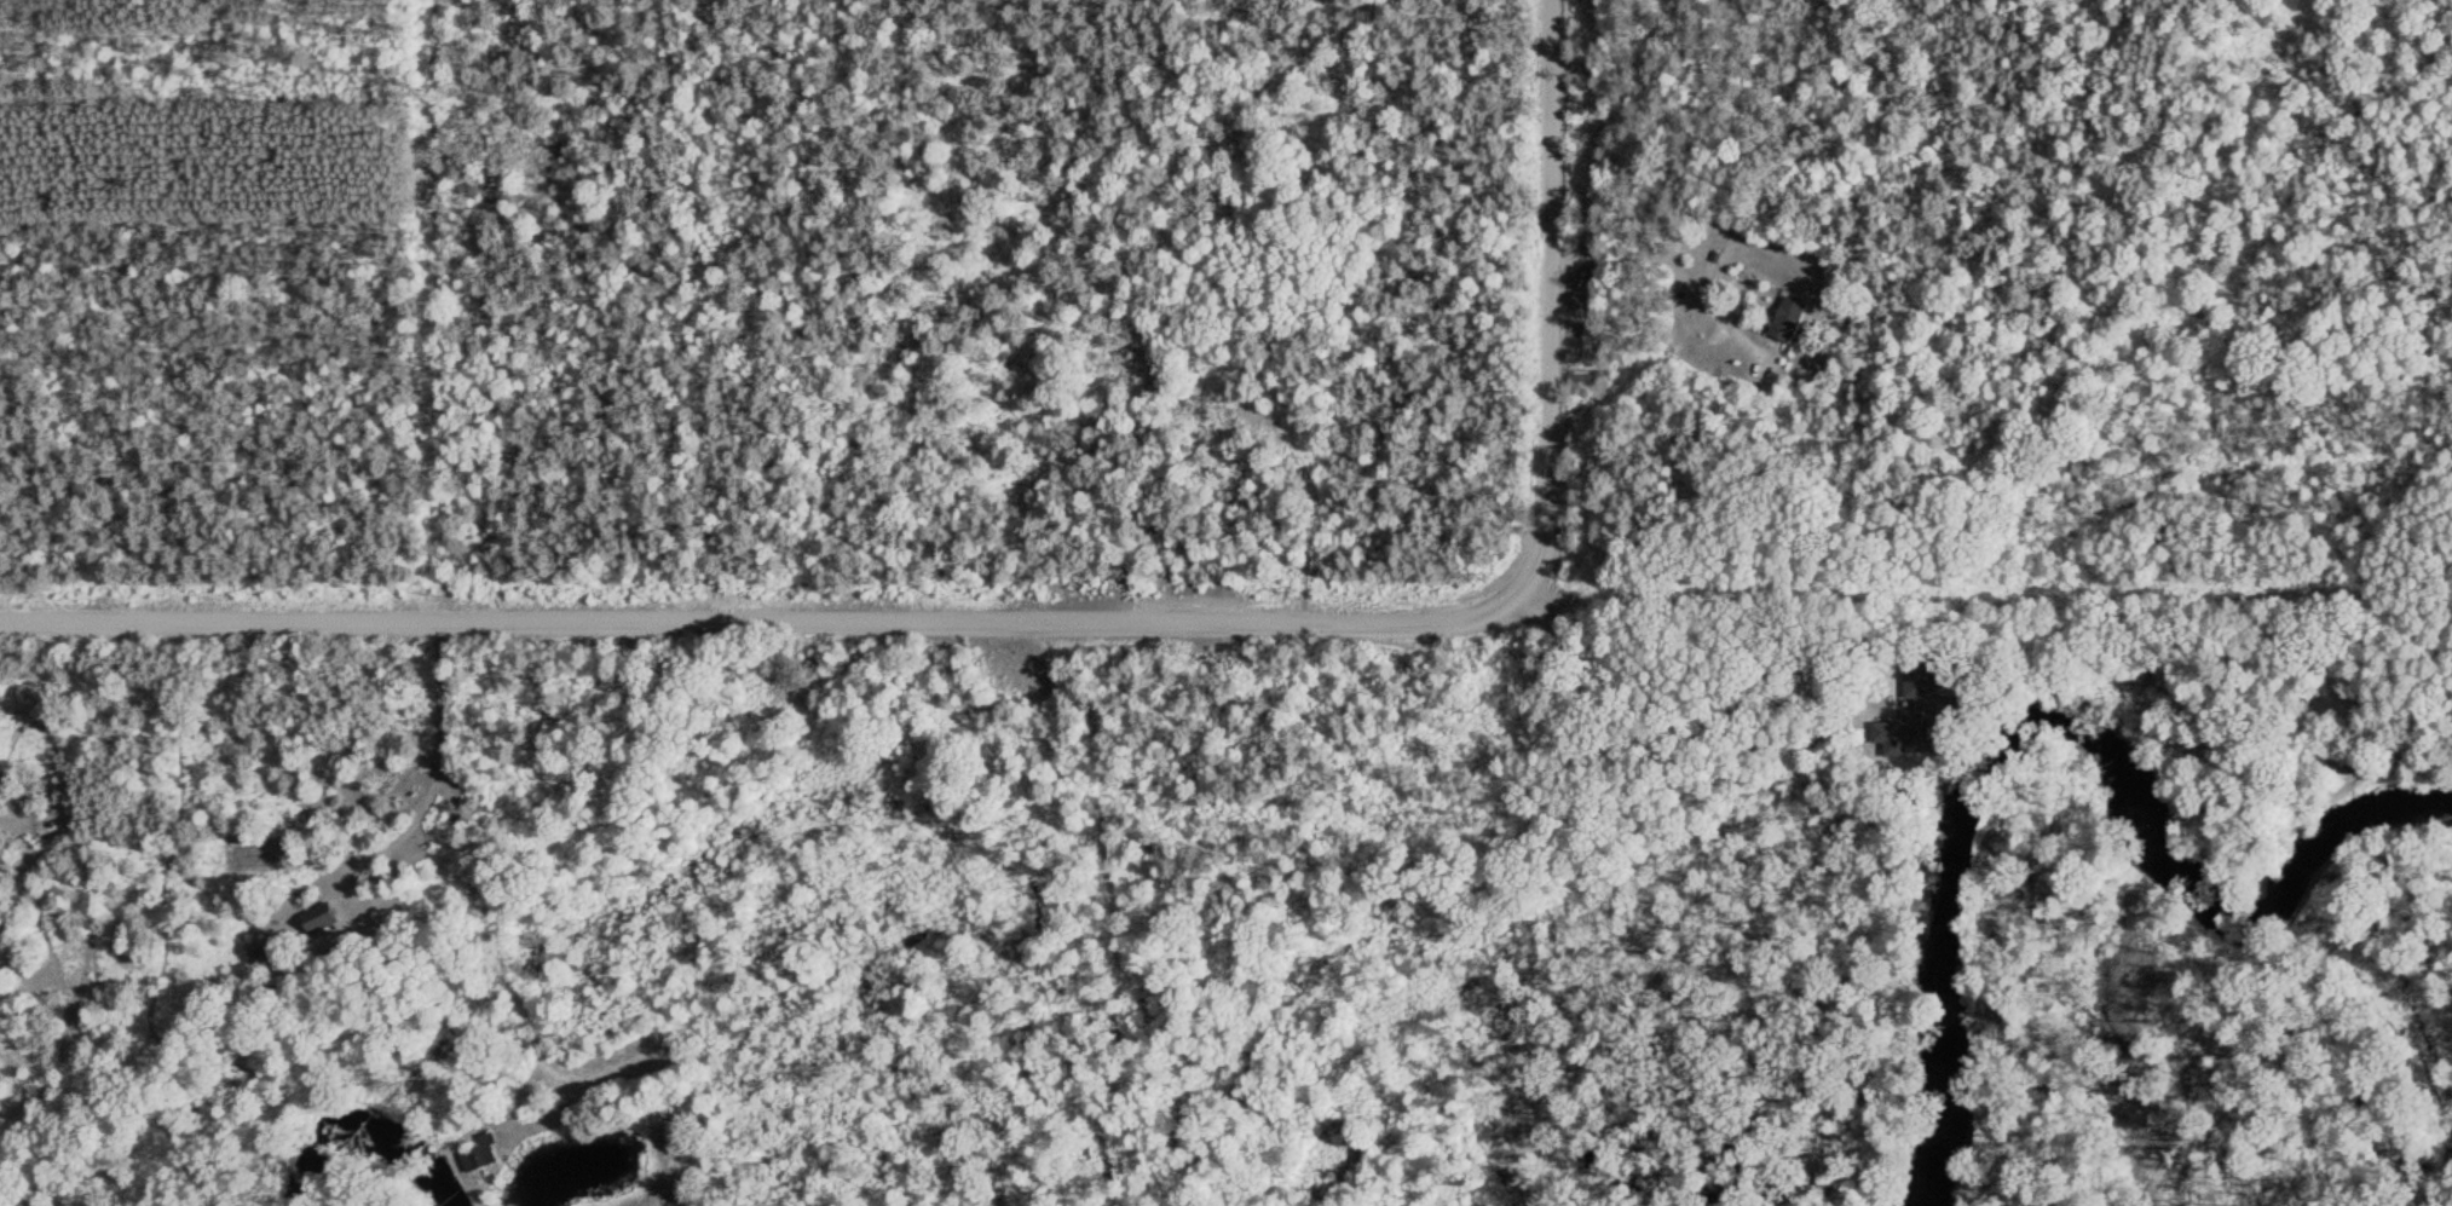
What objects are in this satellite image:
road: (1539, 306)
building: (1783, 319)
road: (754, 622)
river: (2067, 720)
road: (1556, 854)
road: (711, 894)
river: (365, 1135)

